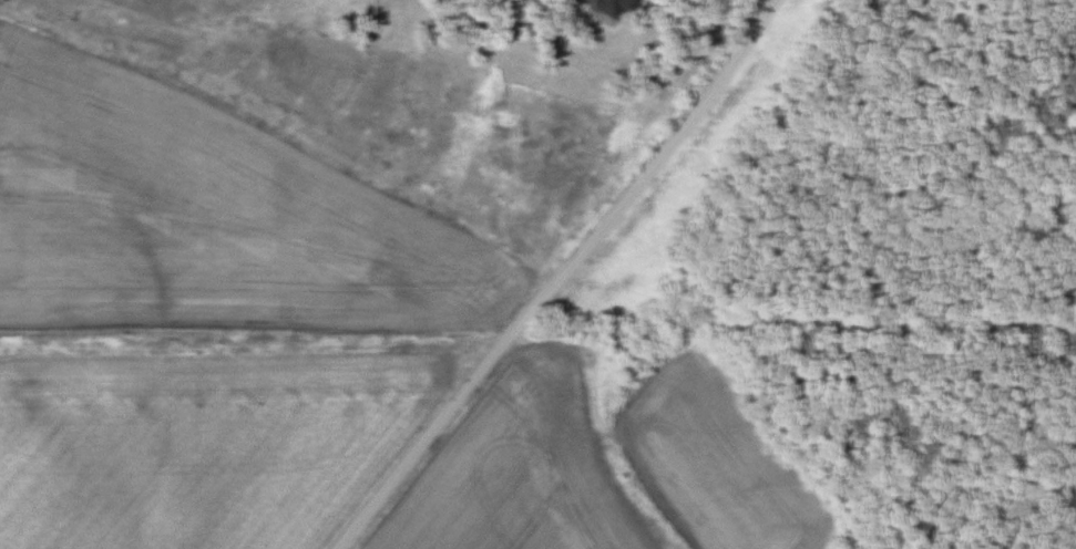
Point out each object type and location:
building: (611, 7)
road: (560, 277)

